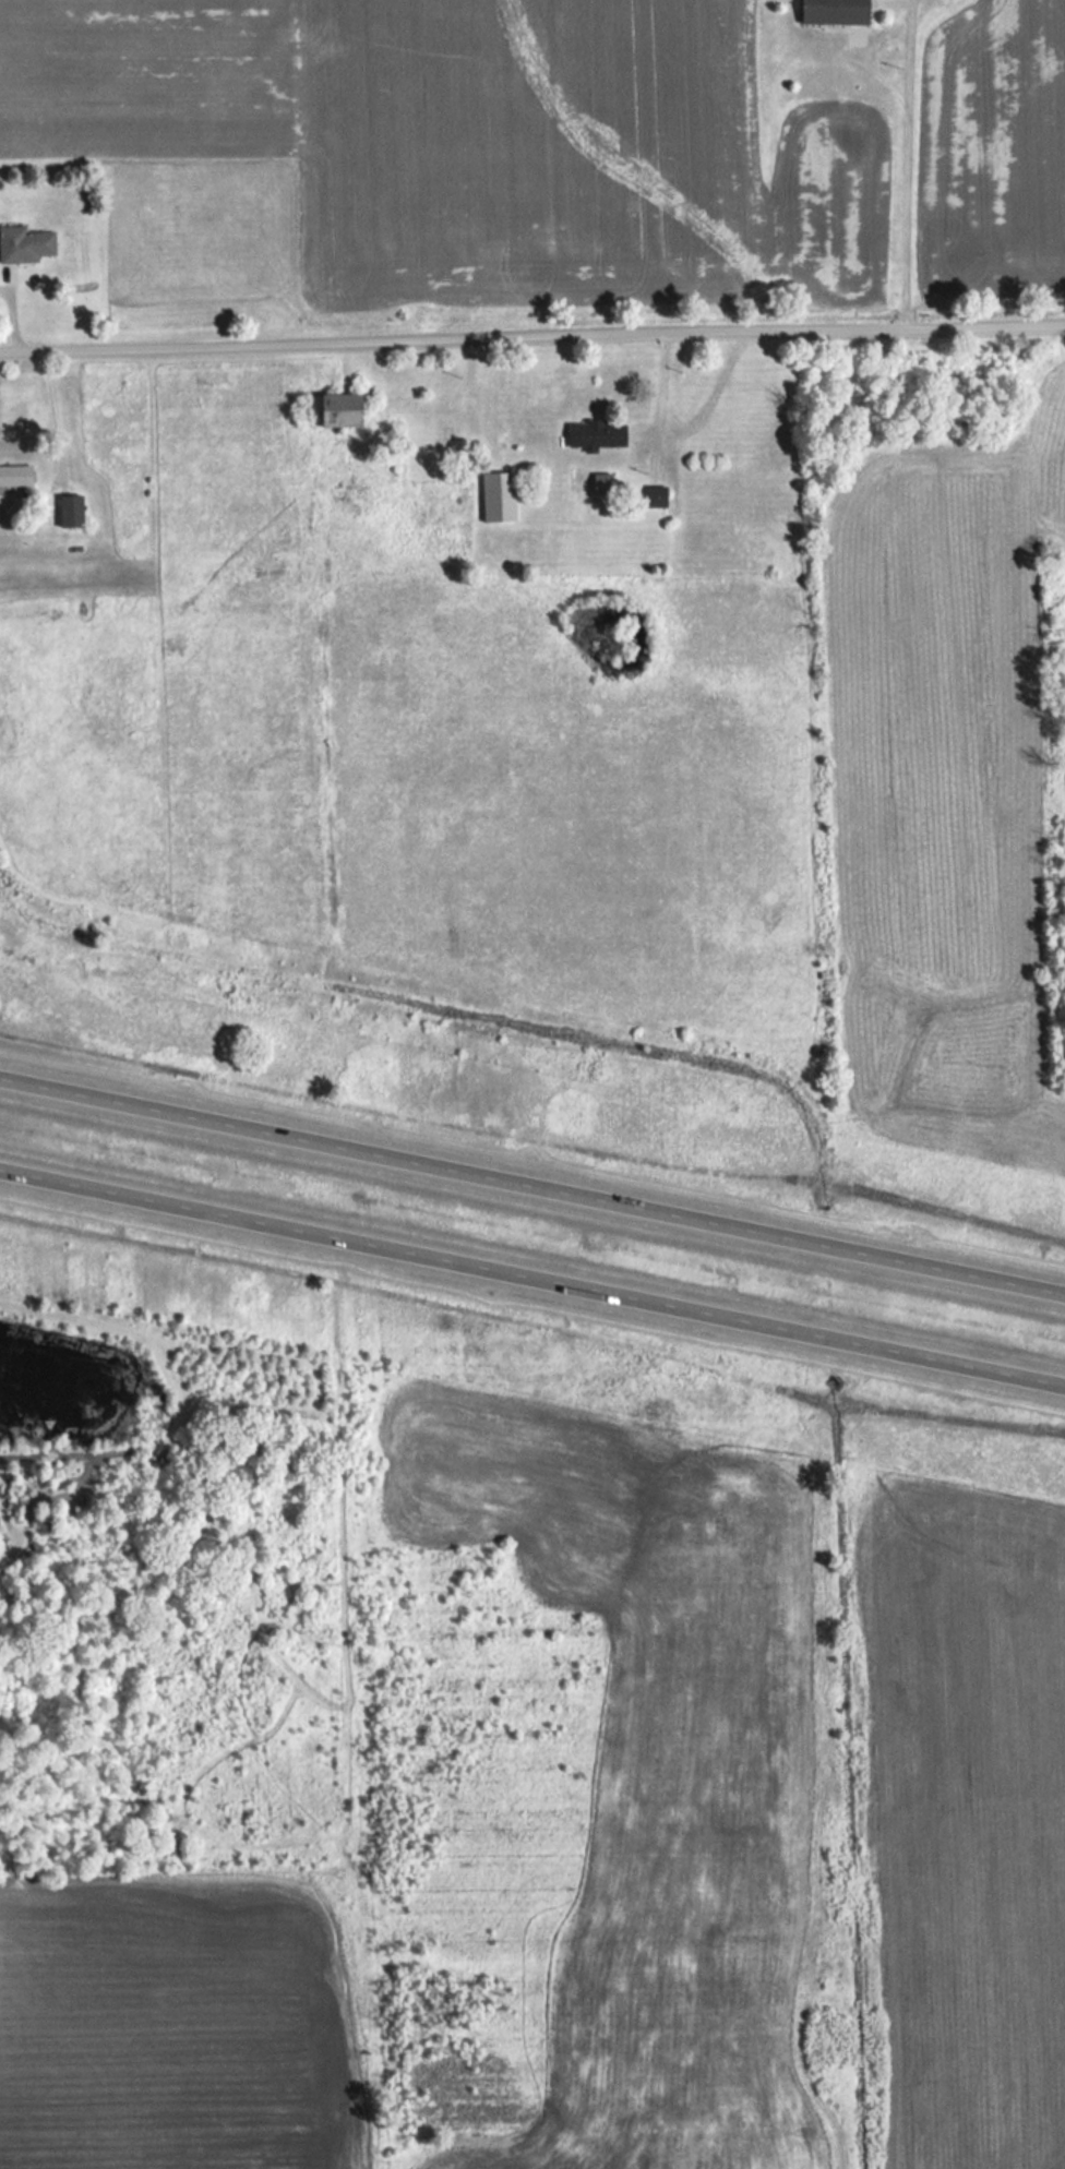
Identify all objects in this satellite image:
building: (839, 11)
road: (905, 165)
building: (27, 243)
road: (20, 313)
road: (532, 338)
building: (342, 409)
building: (601, 435)
building: (19, 475)
building: (503, 495)
building: (76, 510)
road: (531, 1186)
road: (532, 1273)

